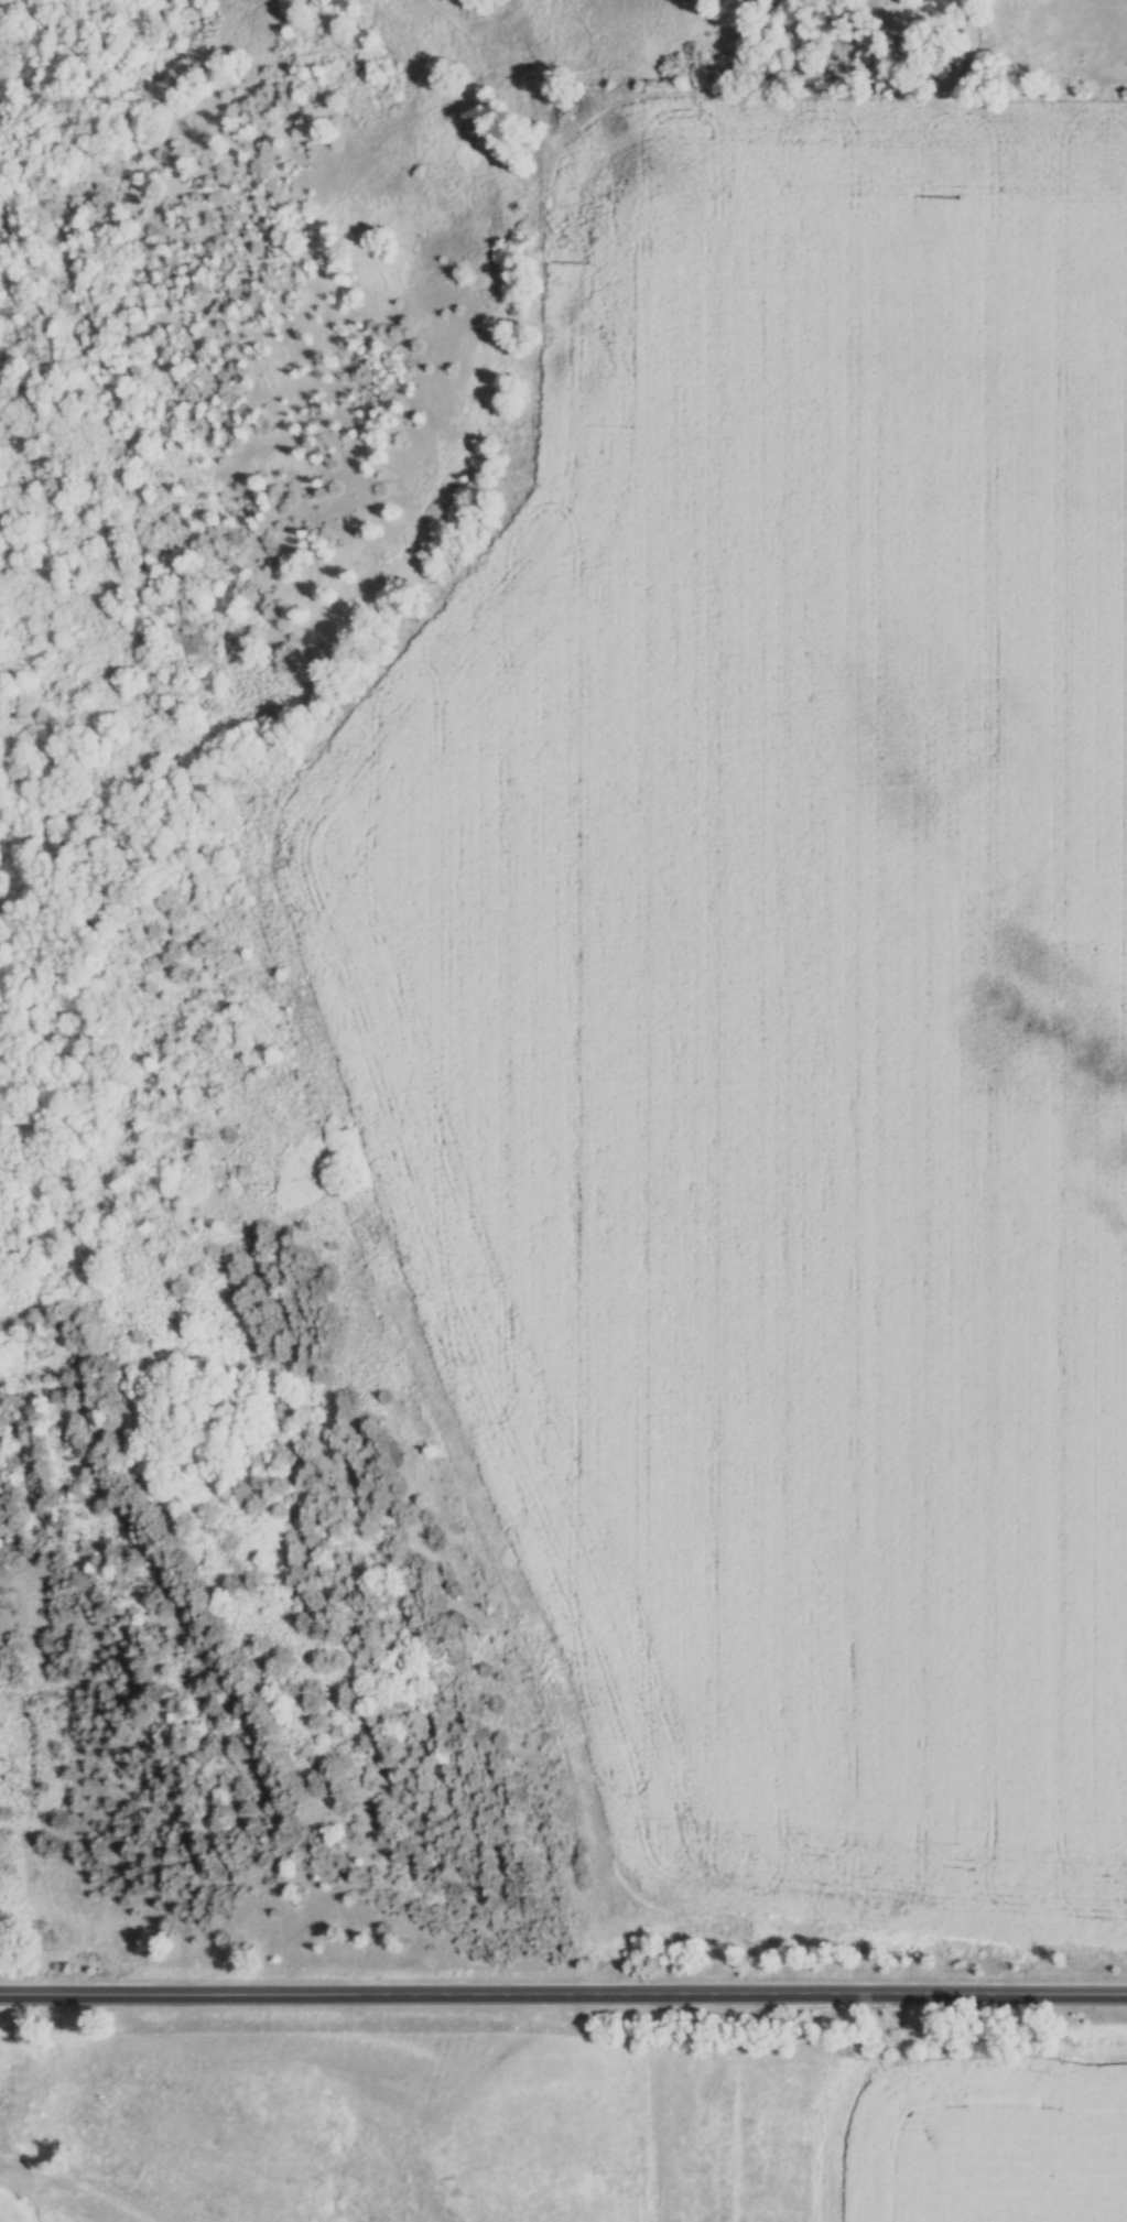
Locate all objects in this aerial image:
crop: (785, 996)
road: (563, 1990)
crop: (994, 2142)

